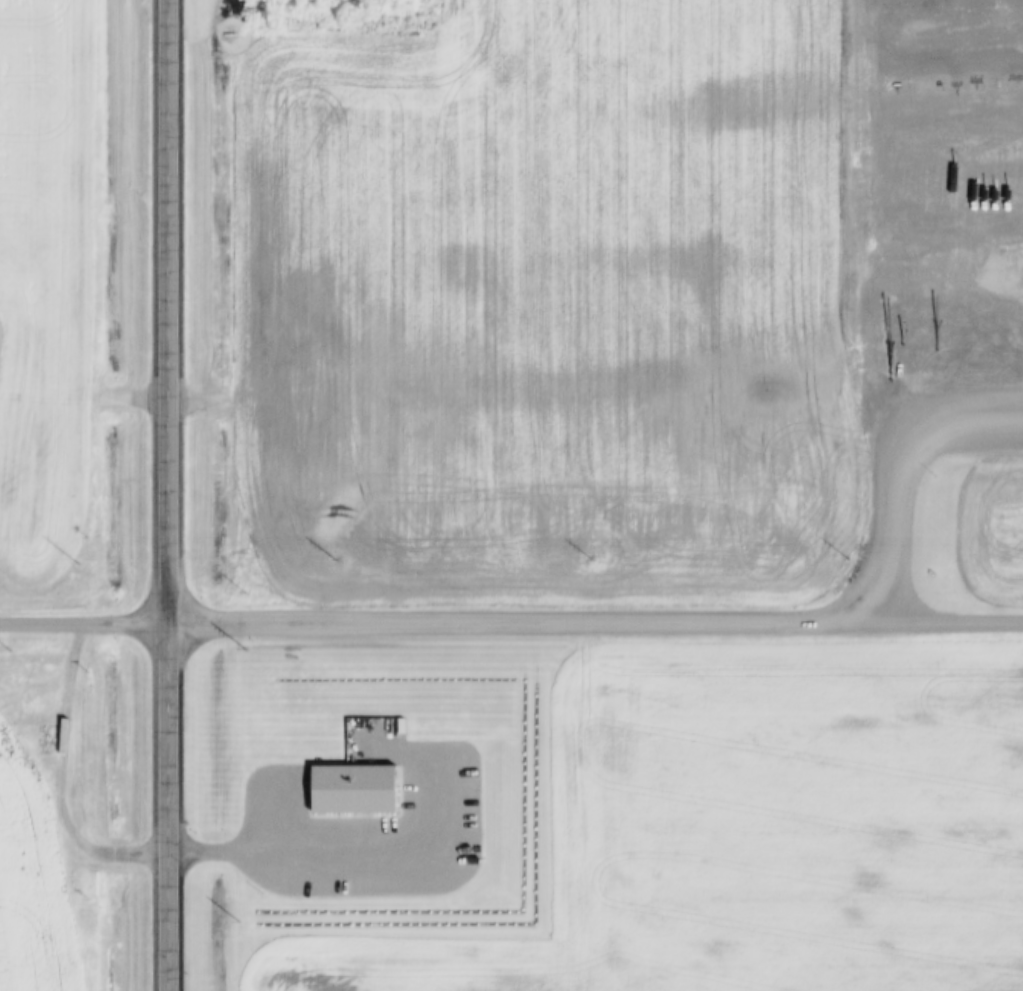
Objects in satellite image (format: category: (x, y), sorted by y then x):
road: (163, 495)
road: (511, 620)
road: (61, 775)
road: (250, 851)
building: (327, 892)

